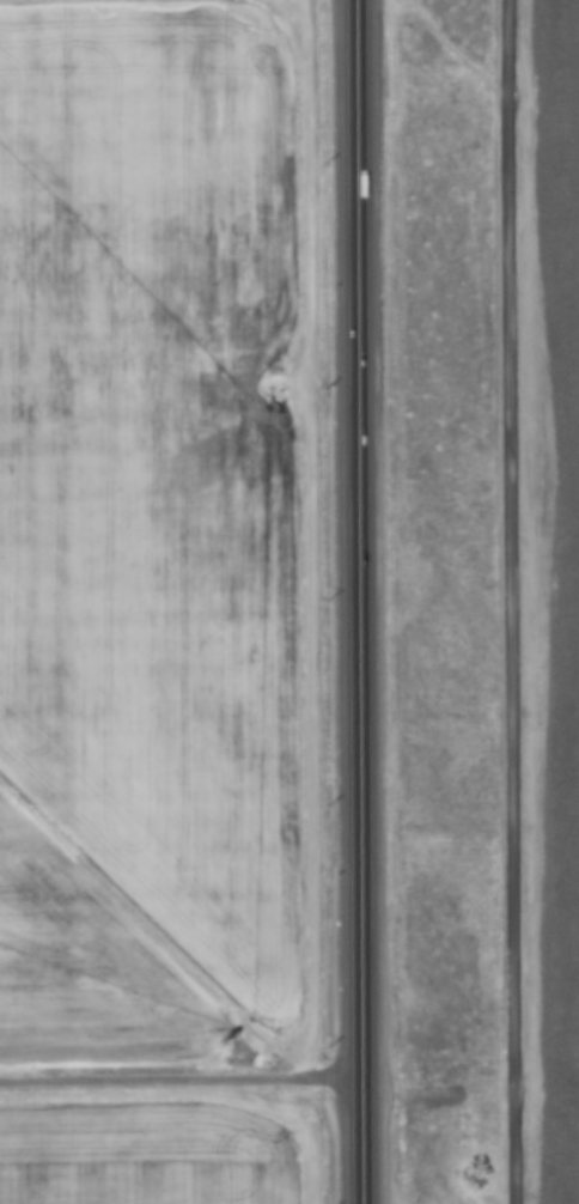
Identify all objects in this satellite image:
road: (366, 602)
road: (510, 602)
road: (185, 1086)

